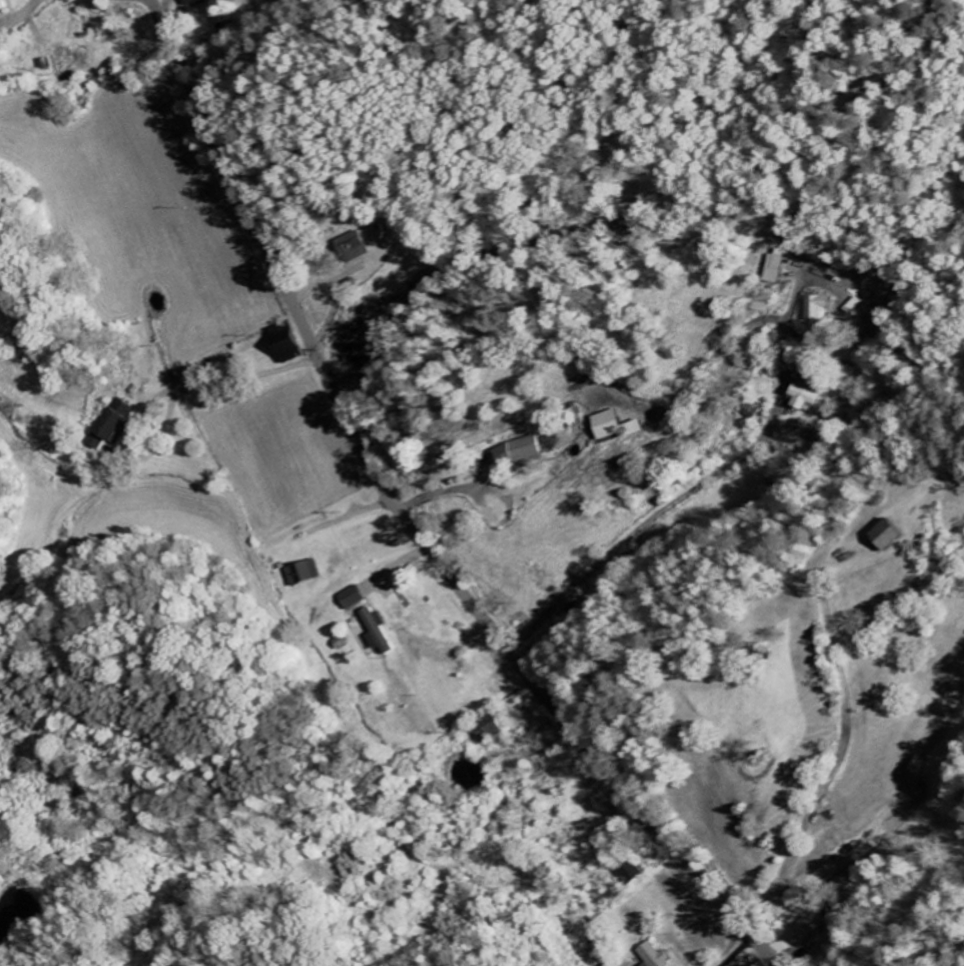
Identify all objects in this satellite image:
building: (202, 3)
building: (4, 6)
road: (10, 11)
building: (821, 308)
building: (292, 342)
road: (197, 385)
building: (809, 400)
building: (120, 421)
building: (619, 426)
building: (646, 429)
building: (529, 452)
road: (714, 476)
road: (406, 520)
building: (898, 535)
road: (173, 537)
building: (308, 575)
building: (357, 598)
building: (382, 633)
road: (545, 866)
building: (633, 872)
building: (805, 931)
building: (658, 955)
building: (615, 965)

